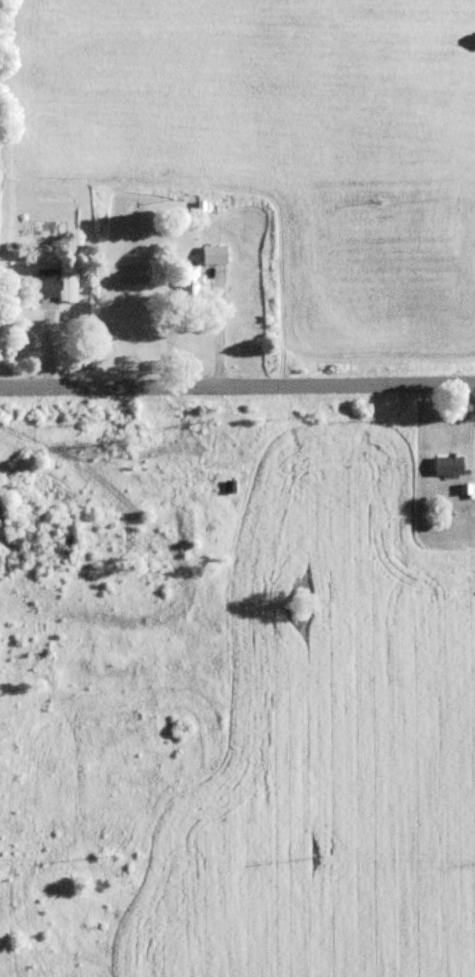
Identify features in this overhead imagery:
building: (212, 255)
building: (54, 284)
road: (237, 386)
building: (447, 466)
building: (228, 487)

